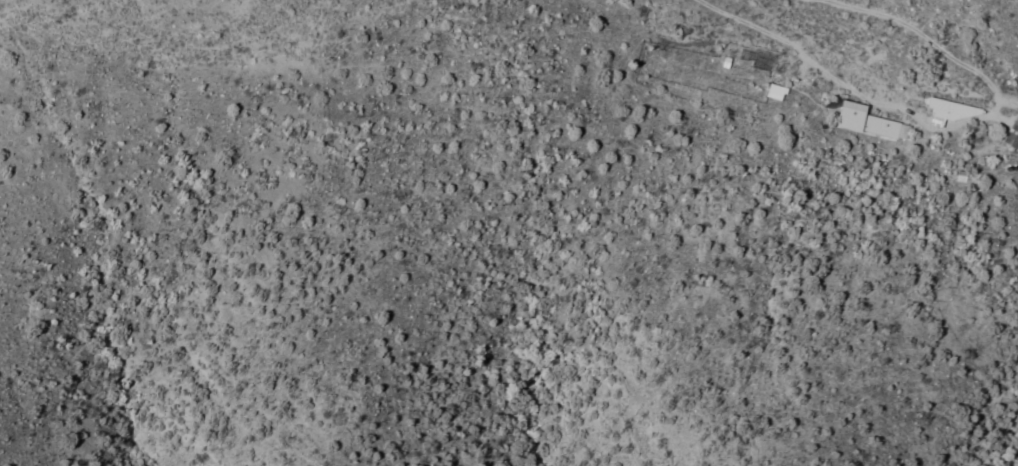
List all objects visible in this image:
building: (724, 55)
building: (774, 85)
road: (1005, 97)
building: (948, 103)
building: (864, 113)
road: (931, 114)
building: (1012, 127)
building: (979, 154)
building: (960, 169)

